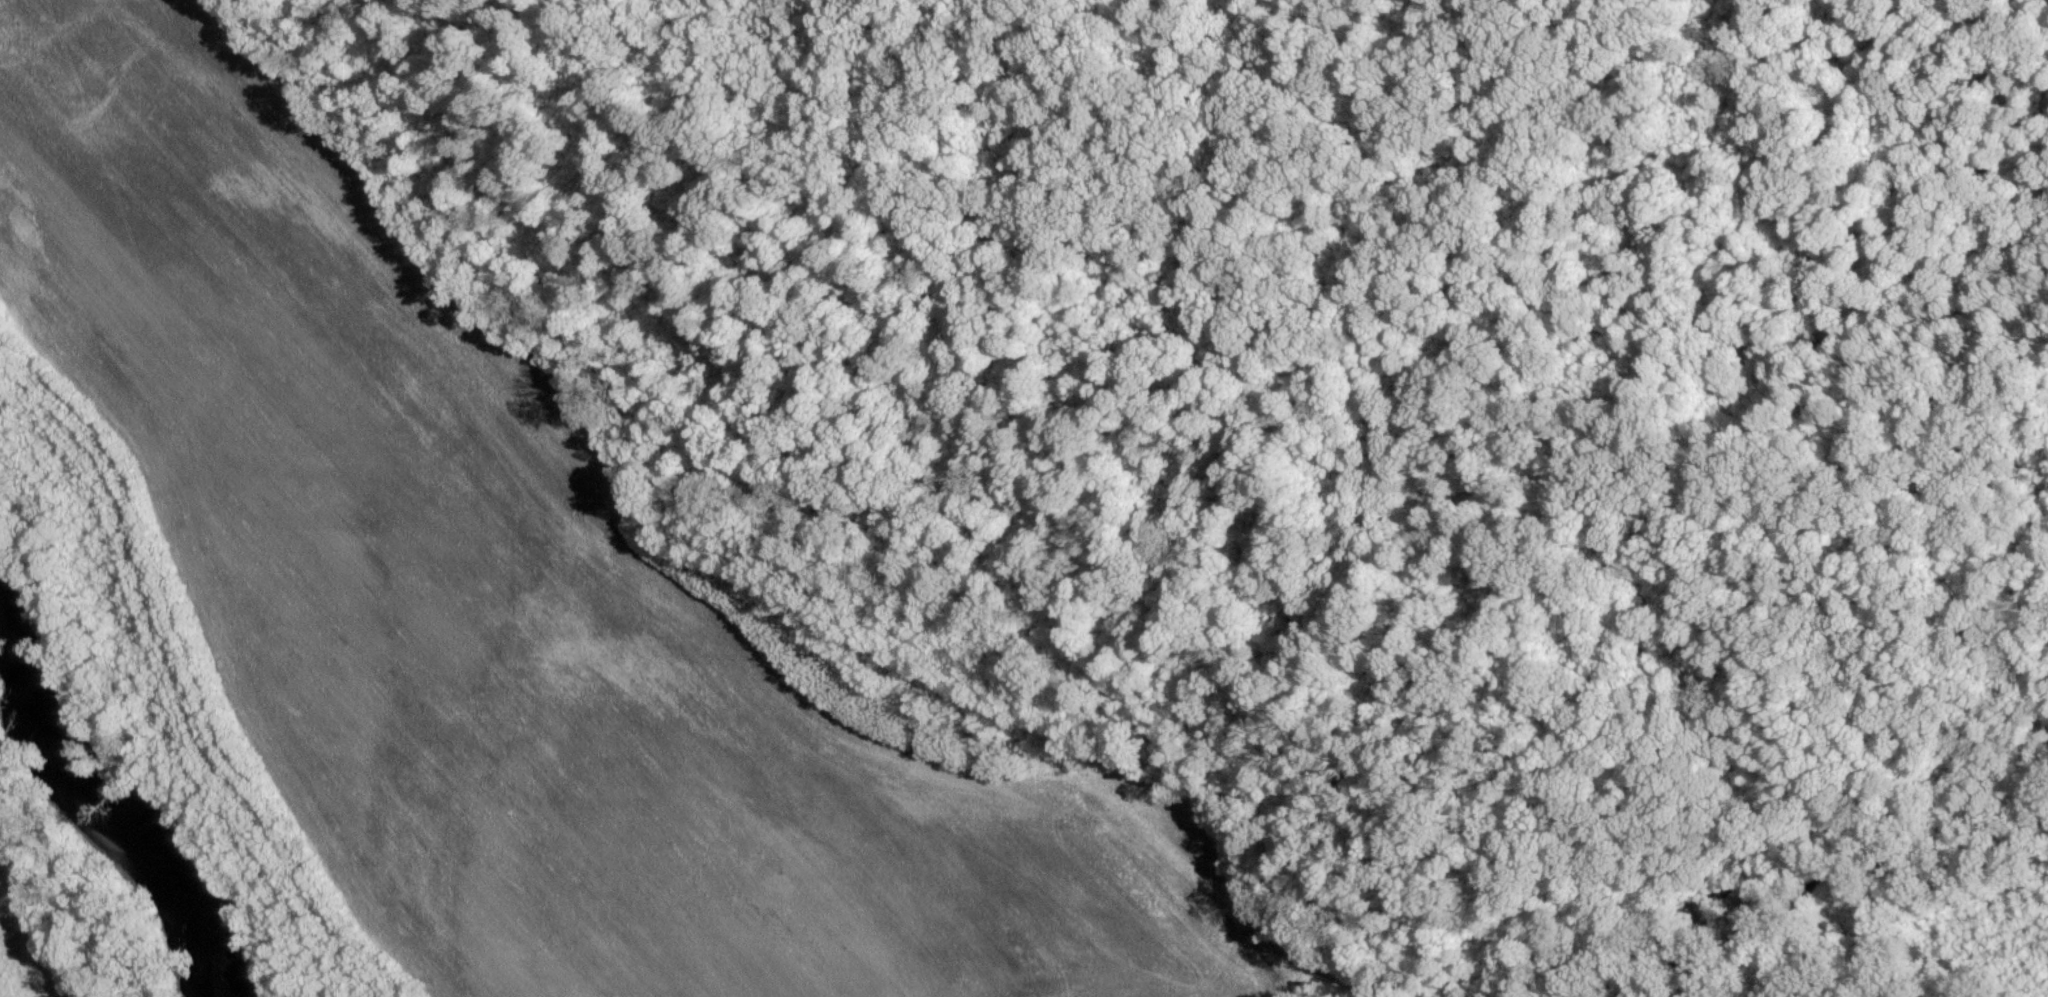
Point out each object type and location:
river: (109, 803)

